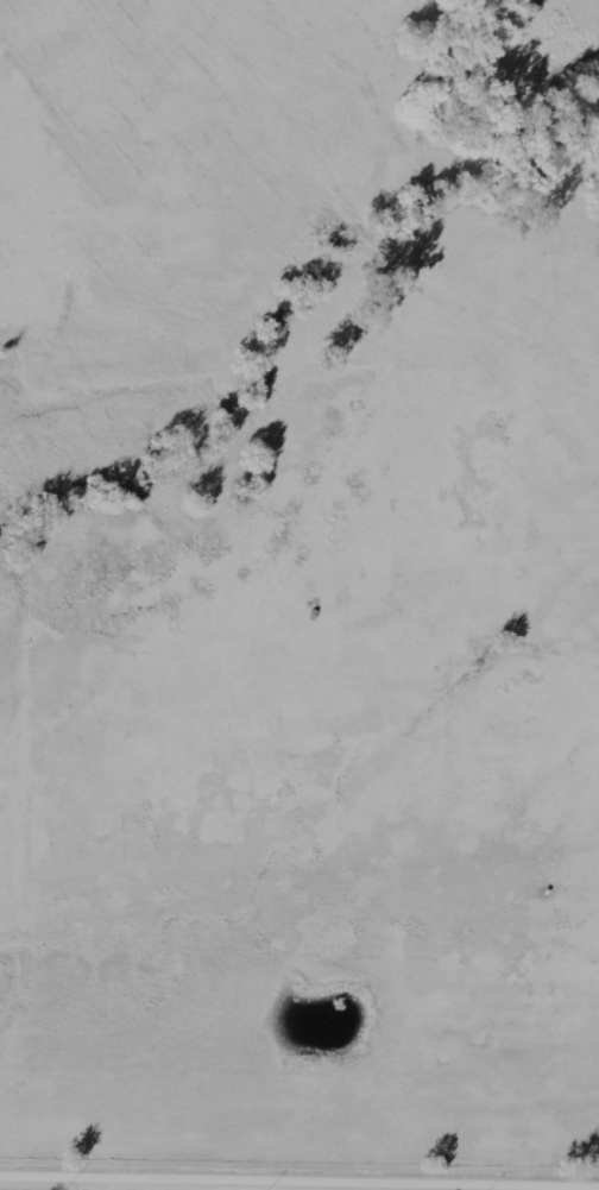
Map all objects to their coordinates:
road: (299, 1173)

